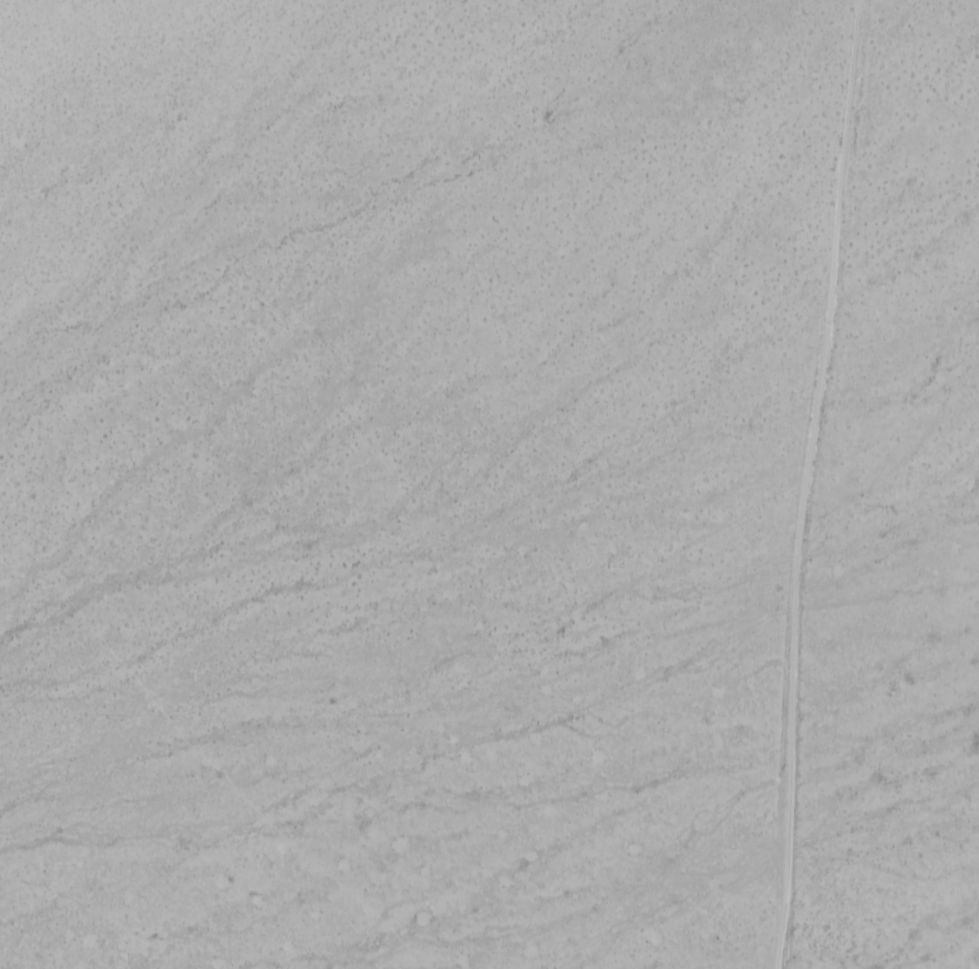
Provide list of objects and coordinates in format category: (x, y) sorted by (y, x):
road: (809, 483)

